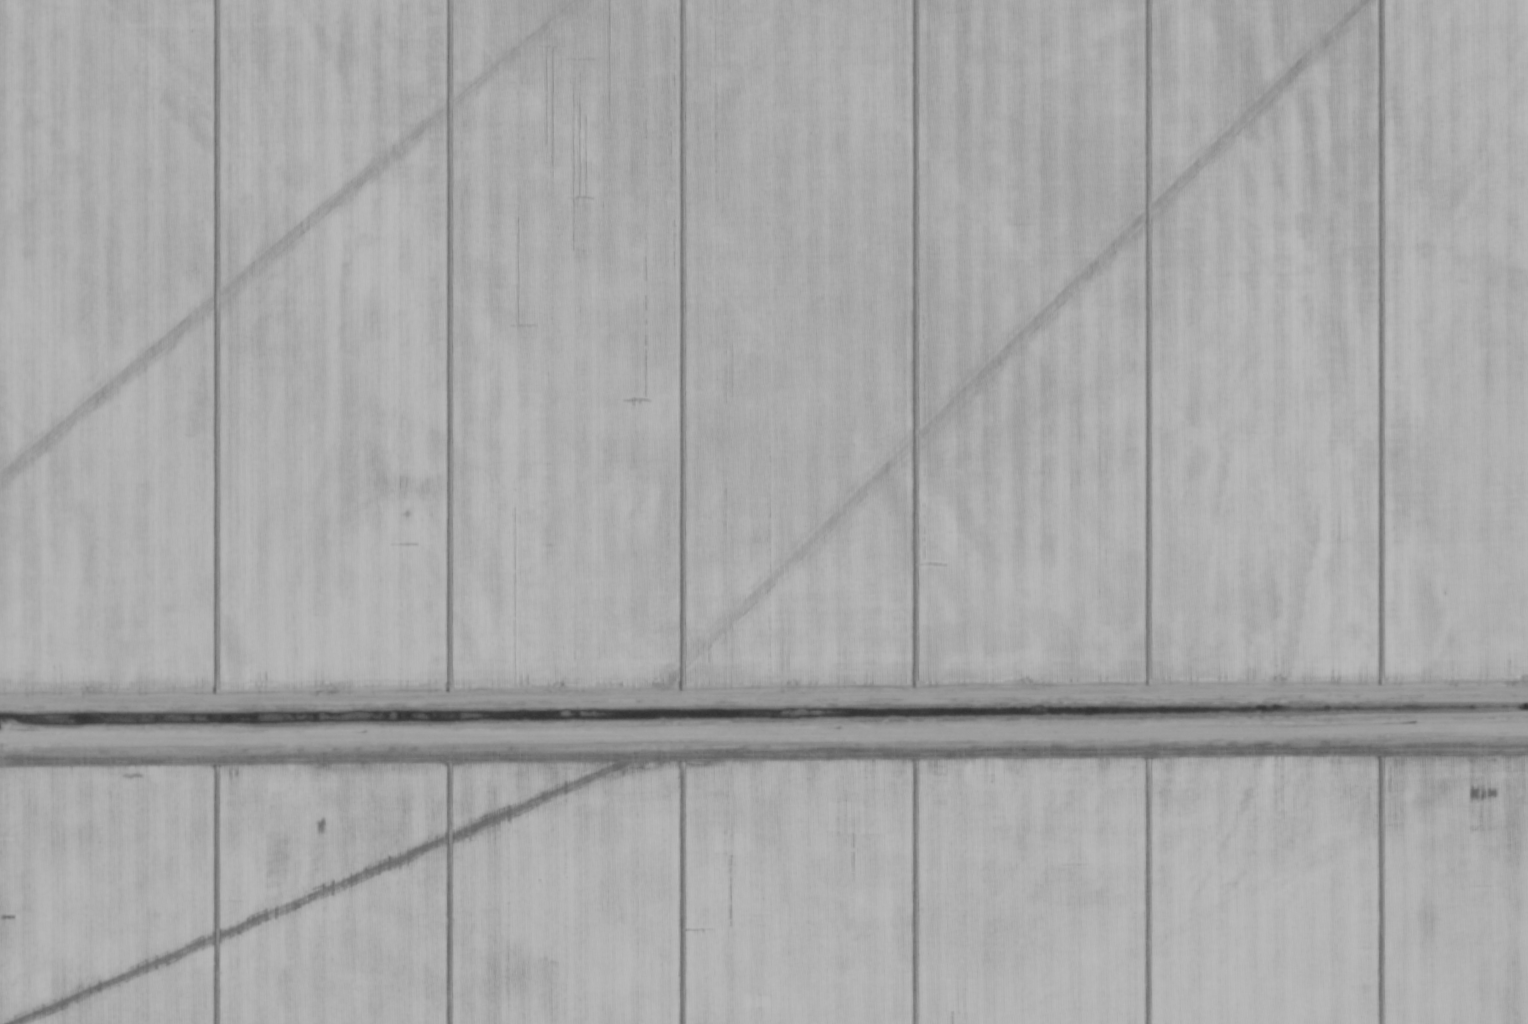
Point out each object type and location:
road: (763, 693)

